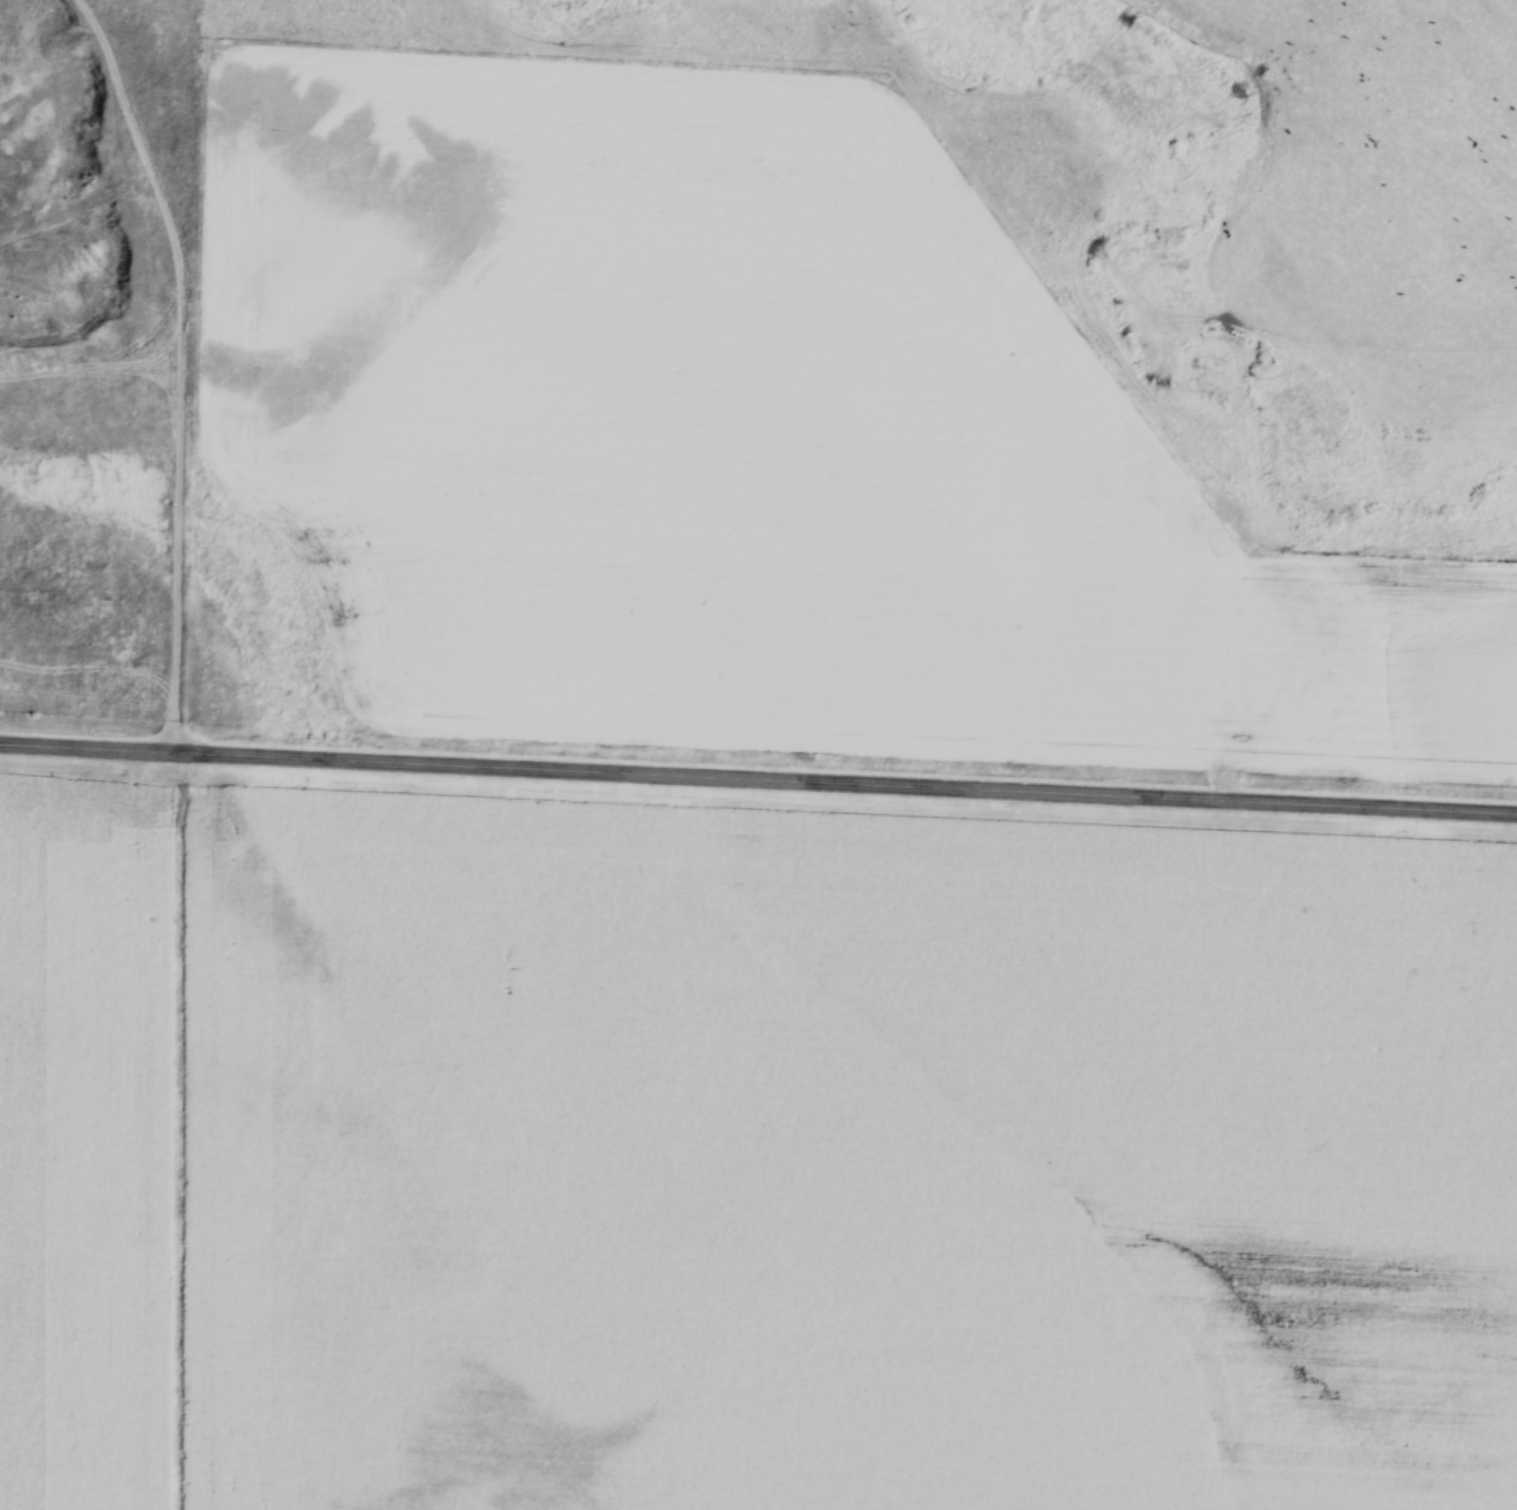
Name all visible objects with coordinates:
road: (91, 750)
road: (849, 790)

